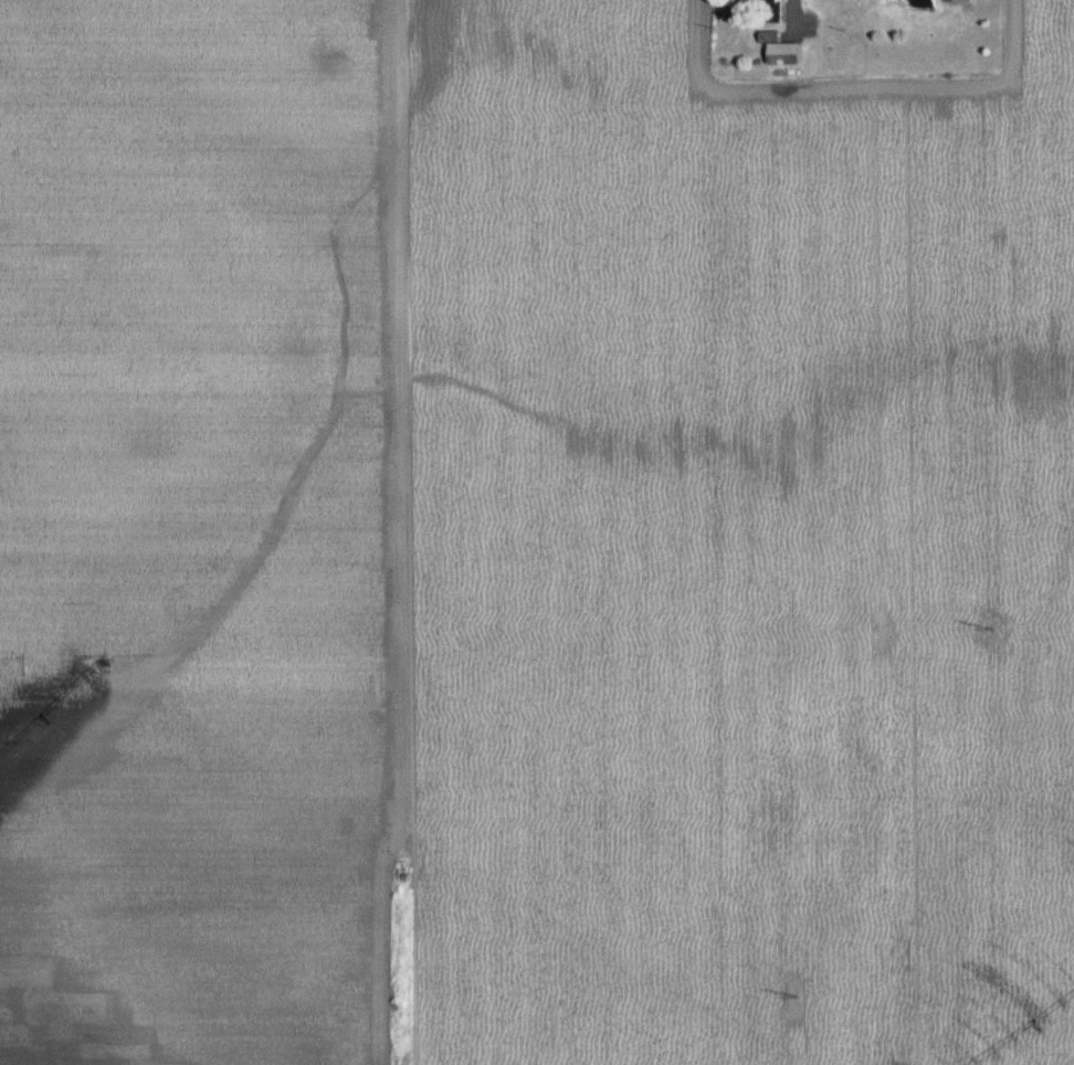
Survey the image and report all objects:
building: (928, 3)
building: (786, 52)
power tower: (1009, 609)
power tower: (810, 974)

